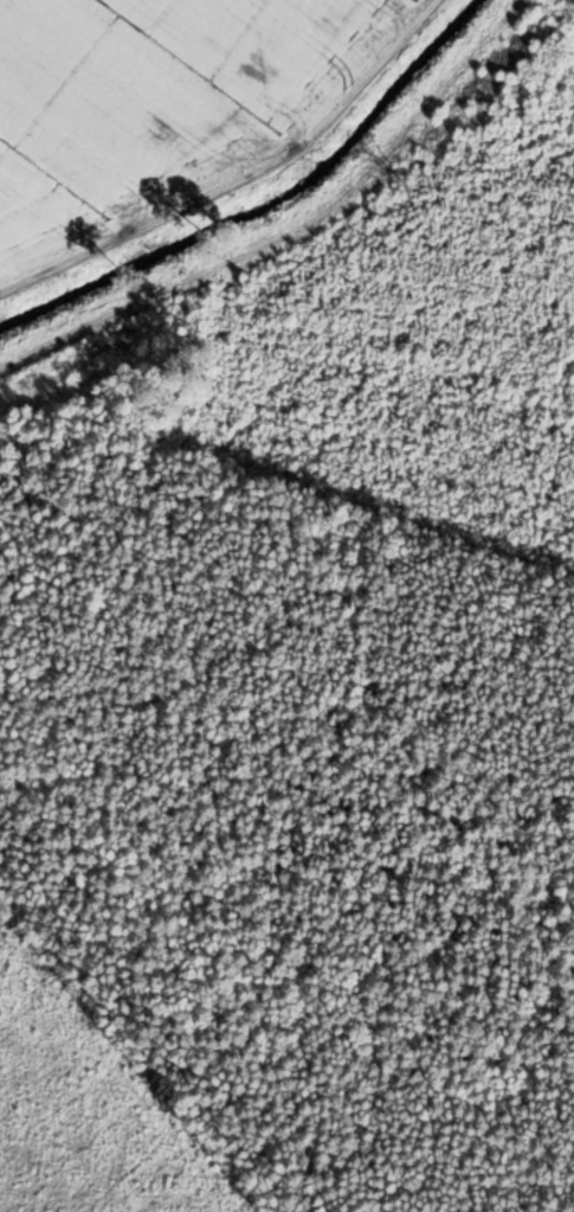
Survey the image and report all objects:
road: (241, 185)

